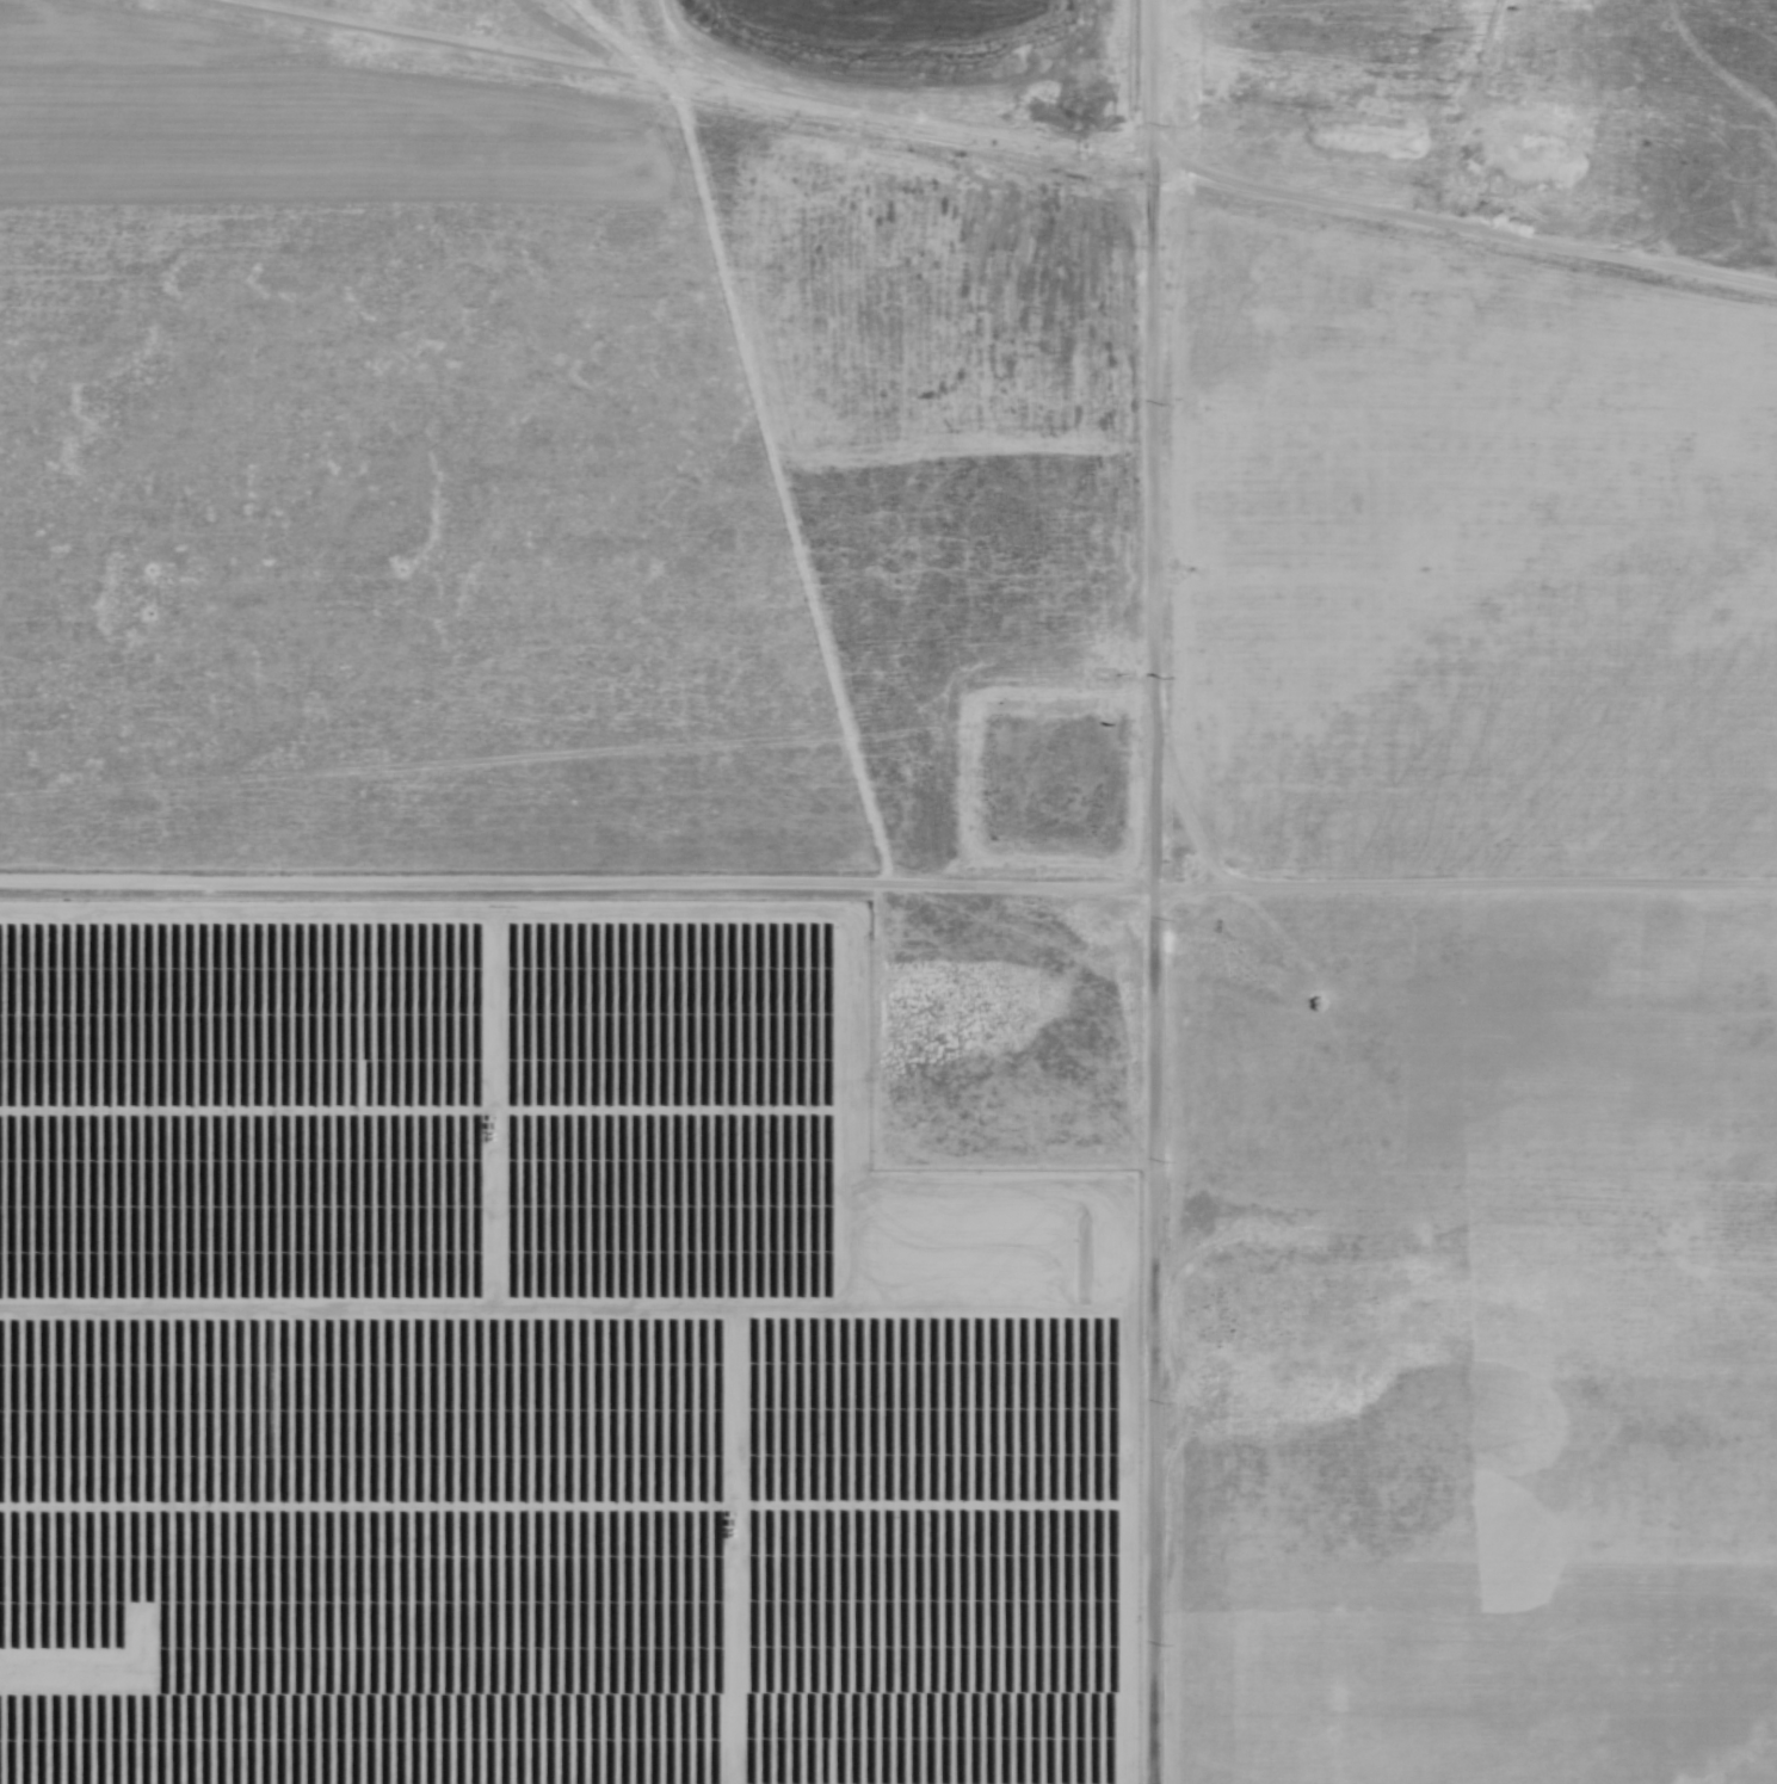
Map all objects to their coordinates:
road: (384, 742)

